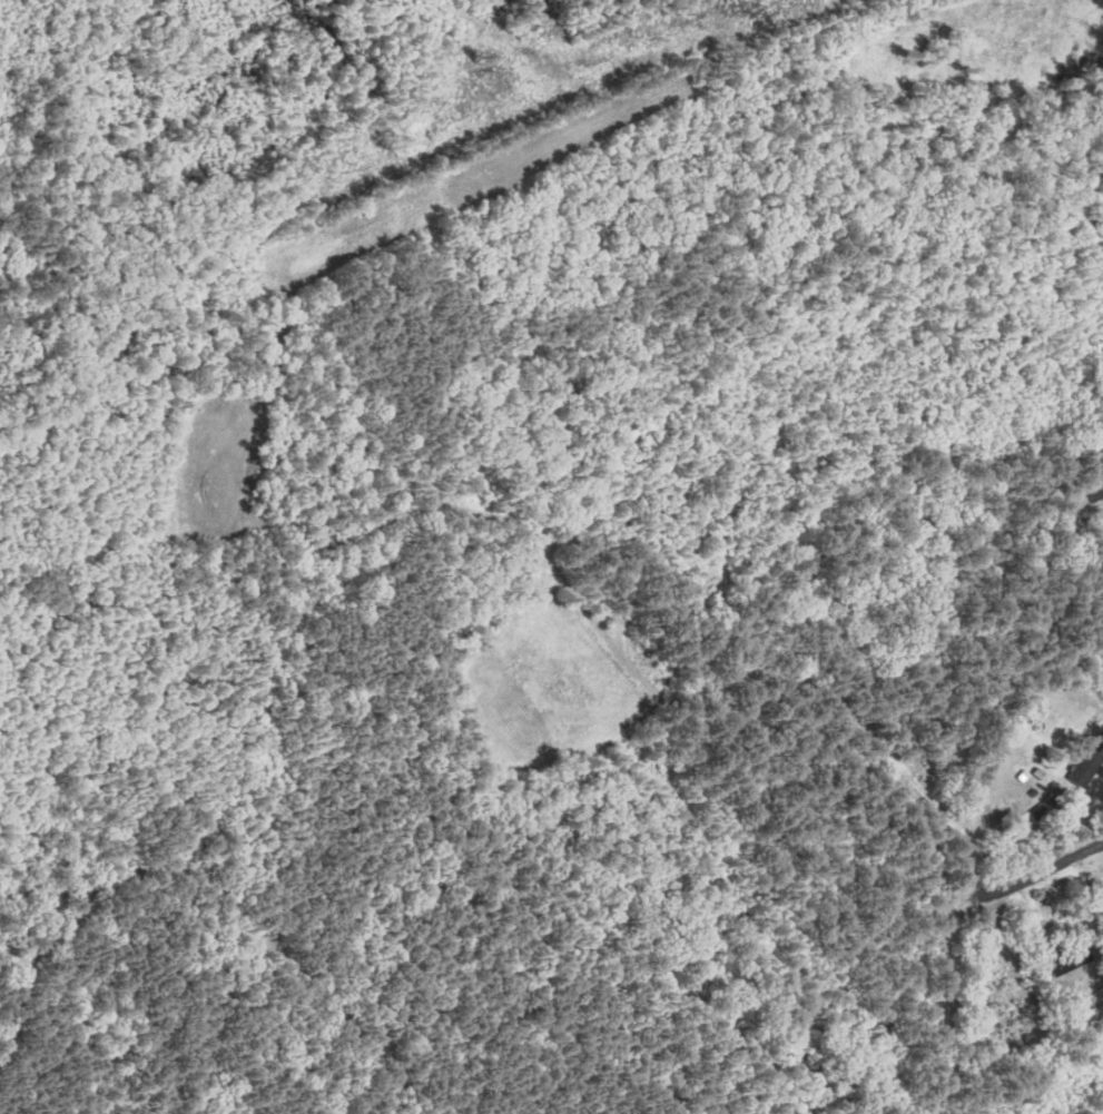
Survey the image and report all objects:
road: (1094, 493)
building: (1090, 766)
road: (1040, 870)
building: (1072, 960)

